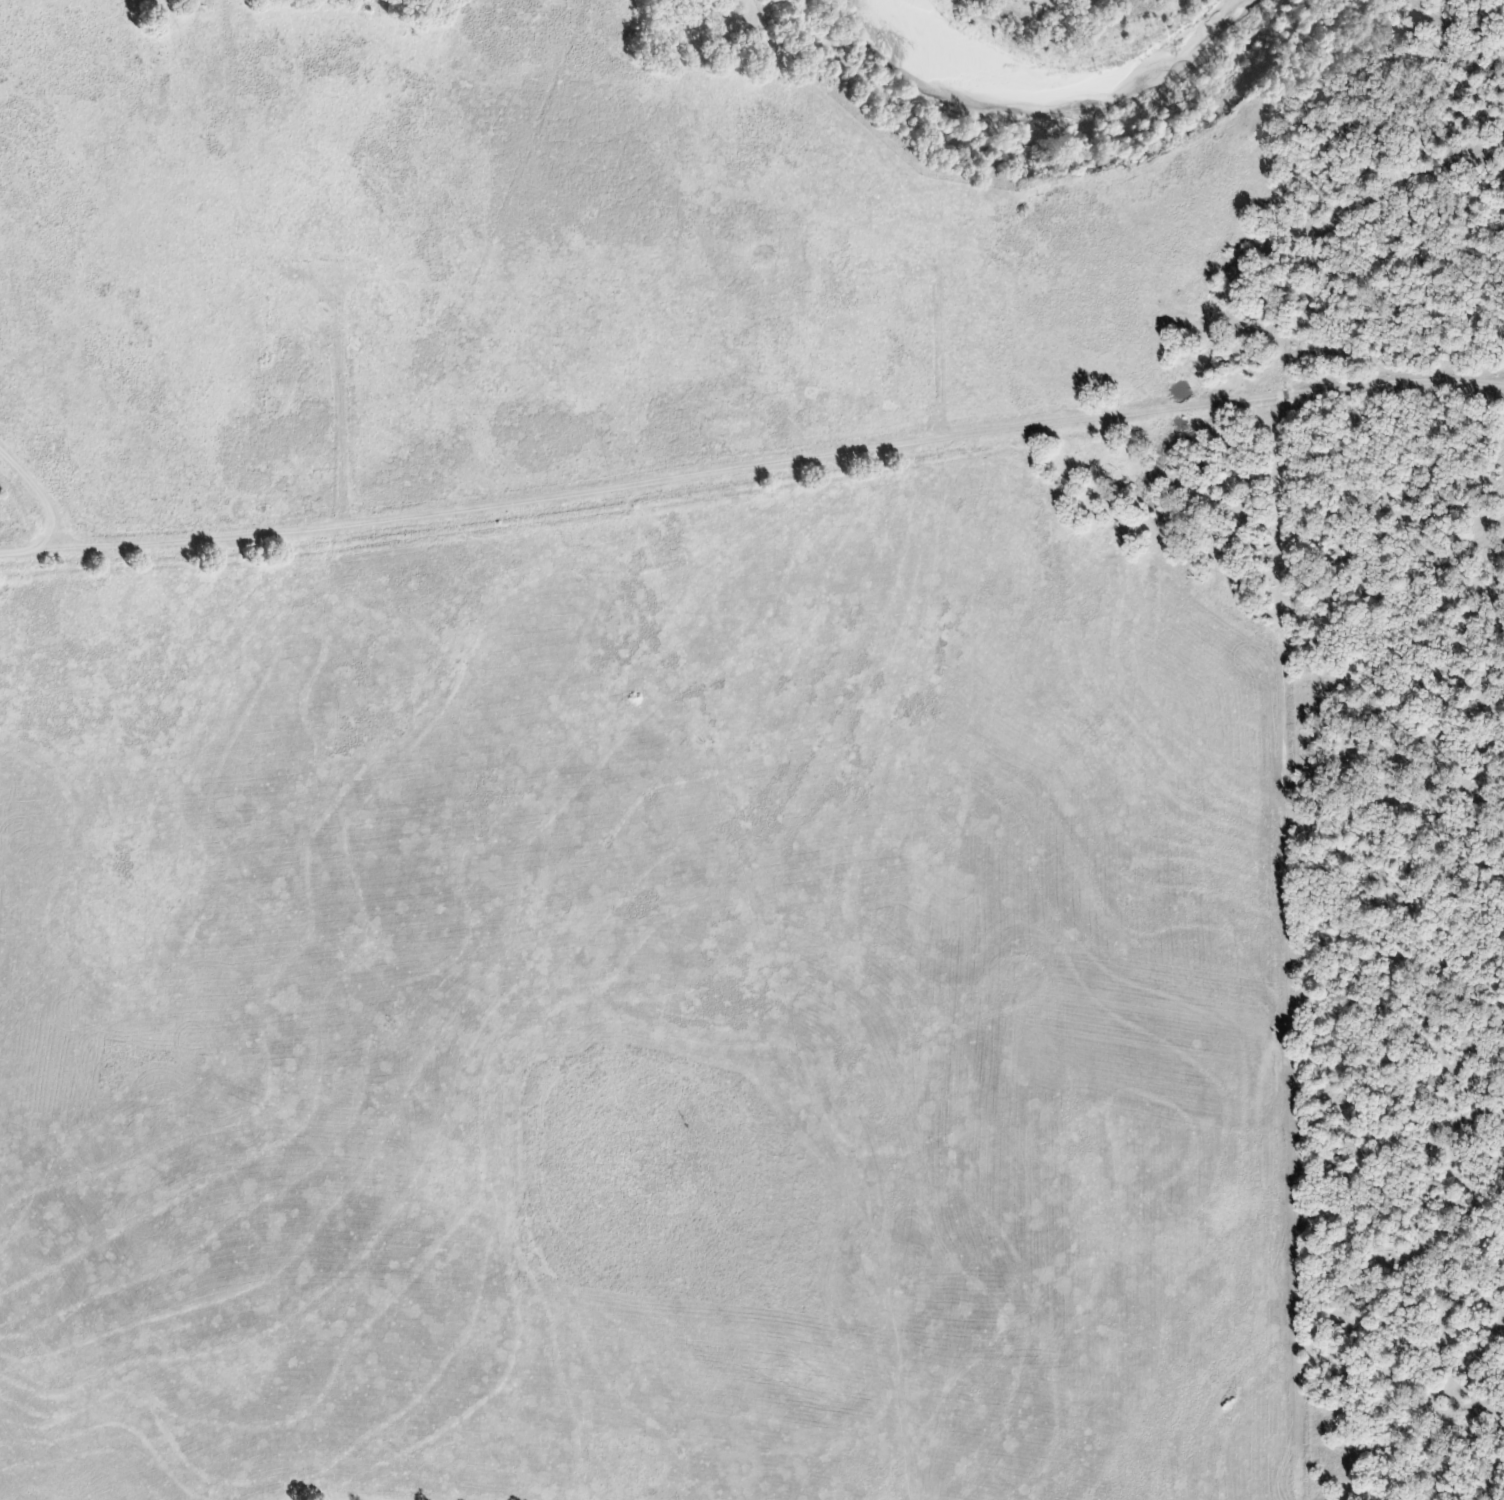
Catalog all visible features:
road: (784, 460)
road: (36, 493)
road: (32, 546)

